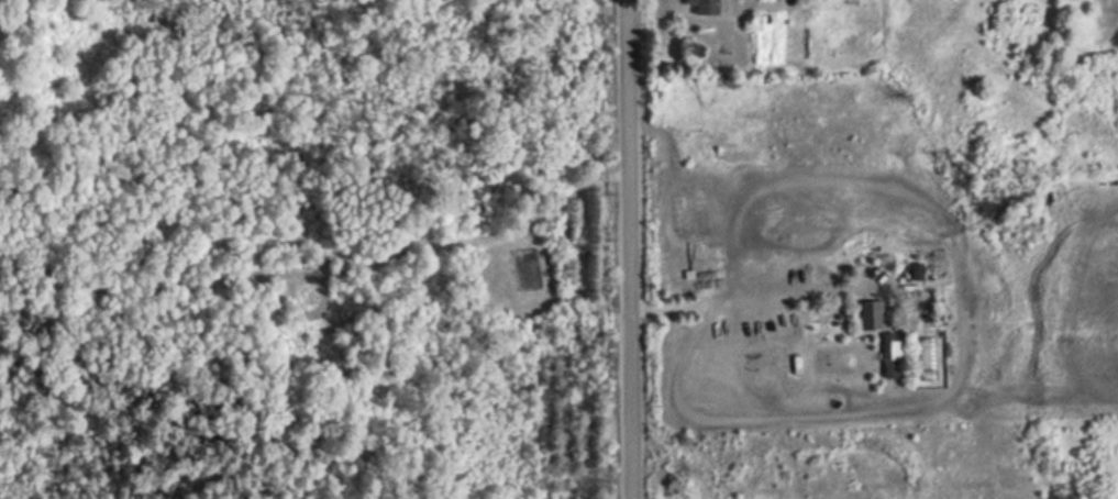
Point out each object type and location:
building: (704, 5)
road: (634, 249)
building: (870, 314)
building: (889, 314)
building: (888, 354)

